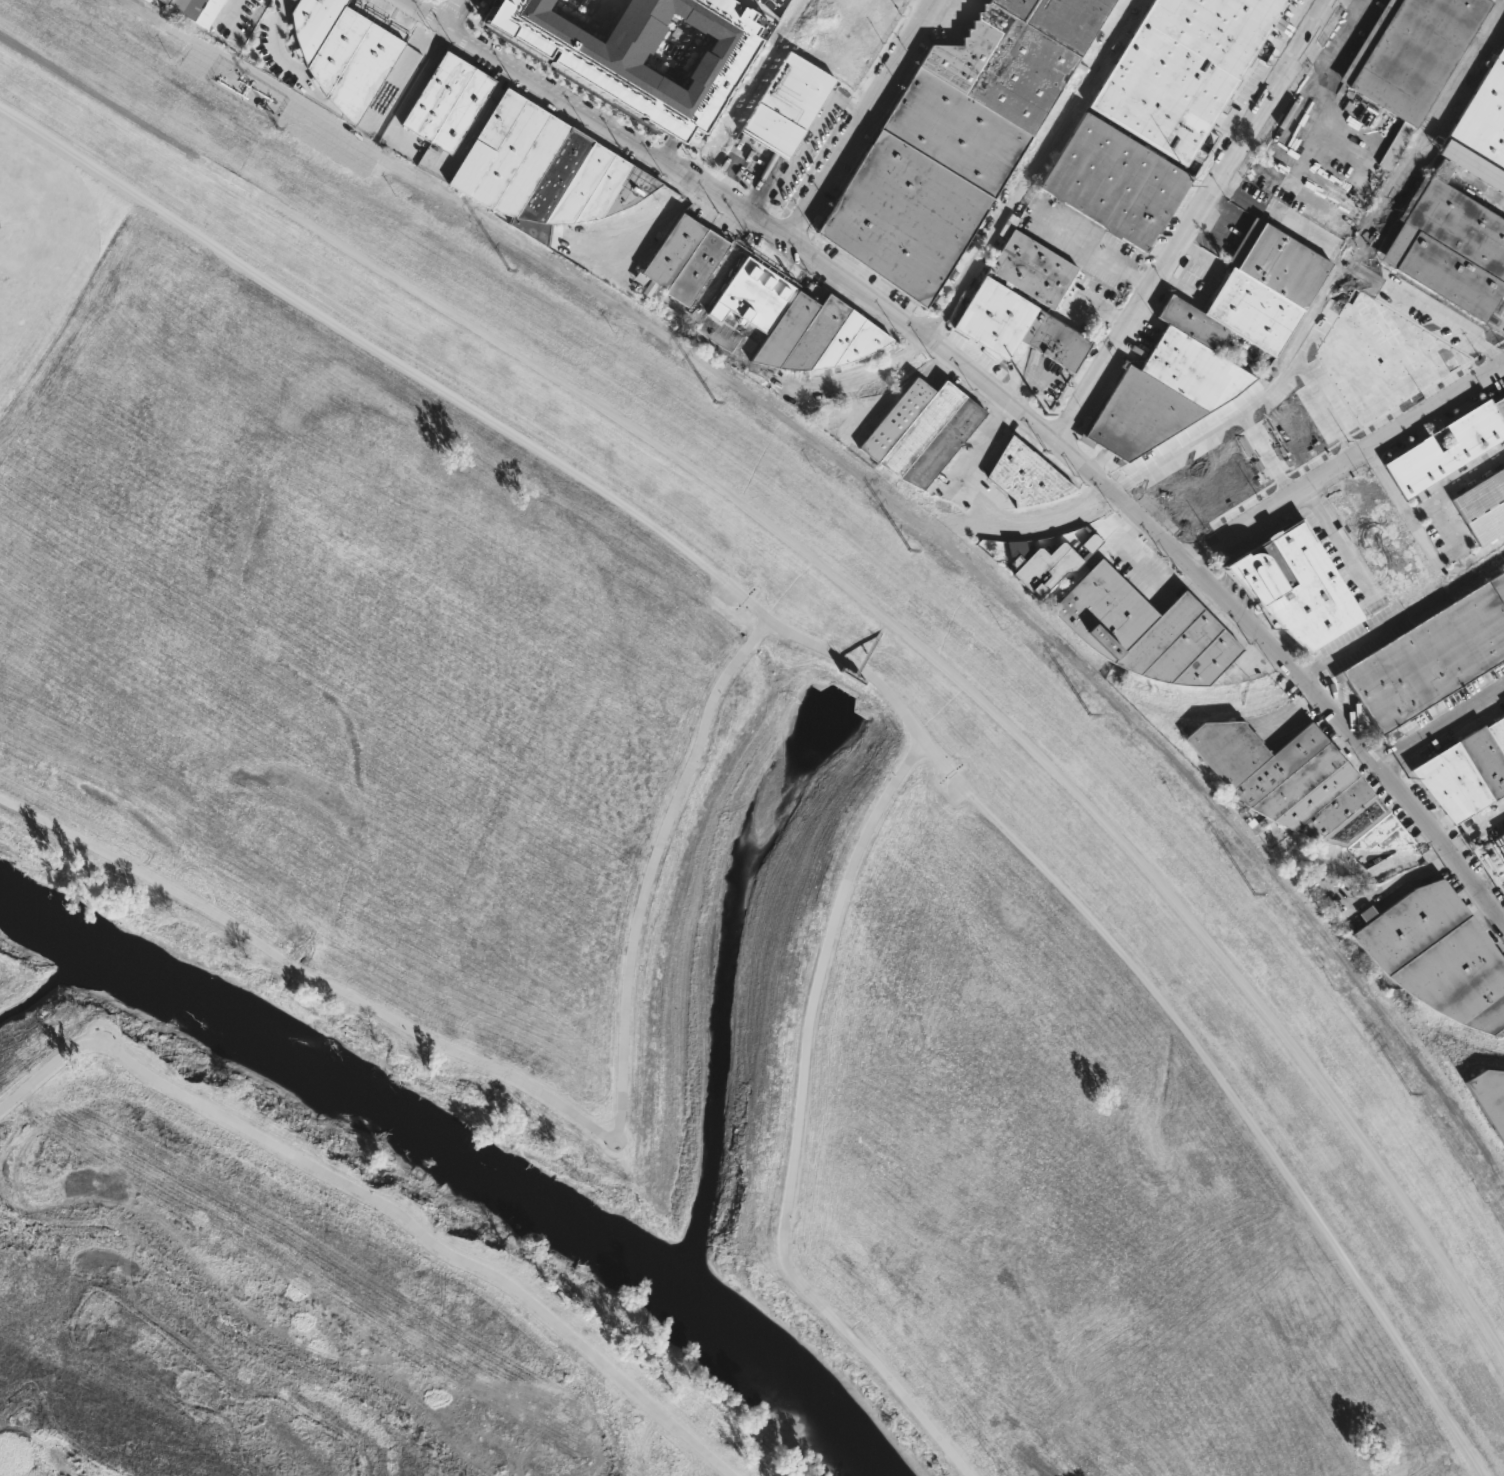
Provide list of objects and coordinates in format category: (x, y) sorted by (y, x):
building: (147, 0)
road: (234, 1)
road: (439, 1)
building: (194, 9)
road: (431, 12)
road: (481, 12)
road: (456, 13)
road: (459, 14)
road: (442, 35)
road: (467, 35)
road: (1342, 42)
building: (341, 53)
building: (1017, 54)
building: (641, 55)
building: (1410, 59)
building: (1181, 69)
railway: (287, 72)
road: (575, 87)
building: (384, 99)
building: (445, 102)
building: (785, 105)
building: (1485, 116)
road: (860, 121)
power tower: (277, 131)
road: (804, 141)
building: (1473, 165)
building: (542, 170)
building: (1113, 182)
building: (921, 185)
road: (689, 191)
road: (1200, 225)
road: (649, 231)
building: (1448, 245)
road: (1093, 253)
building: (682, 259)
power tower: (508, 272)
road: (715, 283)
building: (1024, 305)
building: (797, 322)
building: (1211, 343)
road: (364, 346)
railway: (691, 357)
railway: (1288, 387)
road: (1006, 399)
building: (1320, 403)
power tower: (715, 404)
building: (1500, 407)
building: (920, 432)
road: (1191, 445)
building: (1445, 447)
road: (1344, 463)
building: (1025, 476)
building: (1483, 506)
road: (1336, 542)
power tower: (908, 551)
building: (1392, 556)
building: (1041, 566)
building: (1297, 587)
road: (850, 592)
building: (1145, 631)
road: (1349, 644)
railway: (1059, 657)
building: (1431, 658)
road: (861, 669)
railway: (1312, 669)
power tower: (1089, 717)
road: (1442, 729)
building: (1466, 771)
building: (1298, 784)
road: (1475, 830)
building: (1499, 845)
railway: (1365, 868)
power tower: (1252, 894)
park: (592, 927)
building: (1438, 955)
river: (729, 971)
river: (57, 982)
railway: (1429, 1034)
railway: (1434, 1086)
power tower: (1409, 1093)
building: (1490, 1097)
road: (549, 1104)
road: (1246, 1118)
road: (799, 1132)
river: (464, 1139)
road: (379, 1202)

